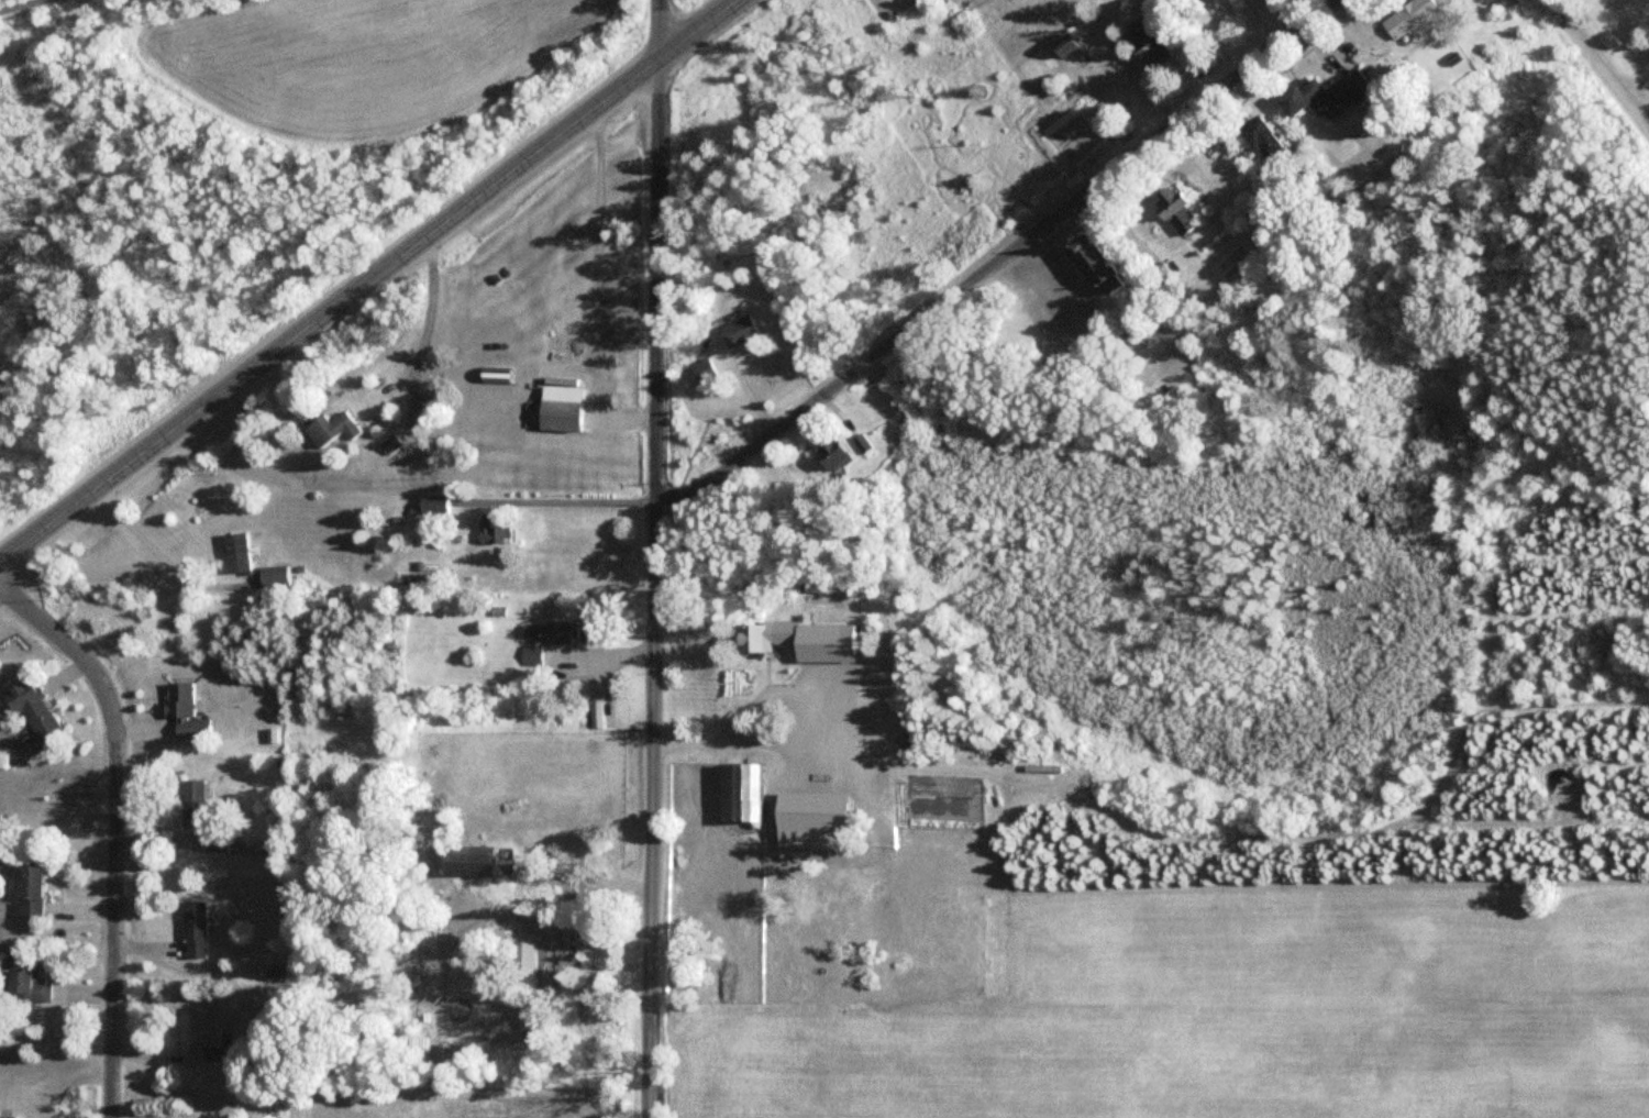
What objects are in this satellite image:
road: (23, 5)
building: (1409, 16)
road: (656, 32)
building: (1147, 44)
road: (1602, 62)
building: (1350, 87)
building: (1304, 96)
building: (1261, 139)
building: (1177, 210)
building: (1092, 257)
road: (987, 262)
building: (1162, 274)
road: (369, 279)
building: (738, 331)
building: (558, 405)
building: (342, 430)
building: (396, 447)
building: (829, 456)
building: (441, 505)
building: (500, 531)
building: (243, 553)
building: (278, 577)
road: (651, 590)
building: (551, 632)
building: (745, 639)
building: (529, 655)
building: (182, 710)
building: (48, 720)
building: (737, 794)
building: (198, 801)
road: (112, 829)
building: (221, 840)
building: (472, 859)
building: (498, 861)
building: (26, 889)
building: (195, 928)
building: (549, 951)
building: (21, 981)
building: (195, 1033)
building: (7, 1117)

